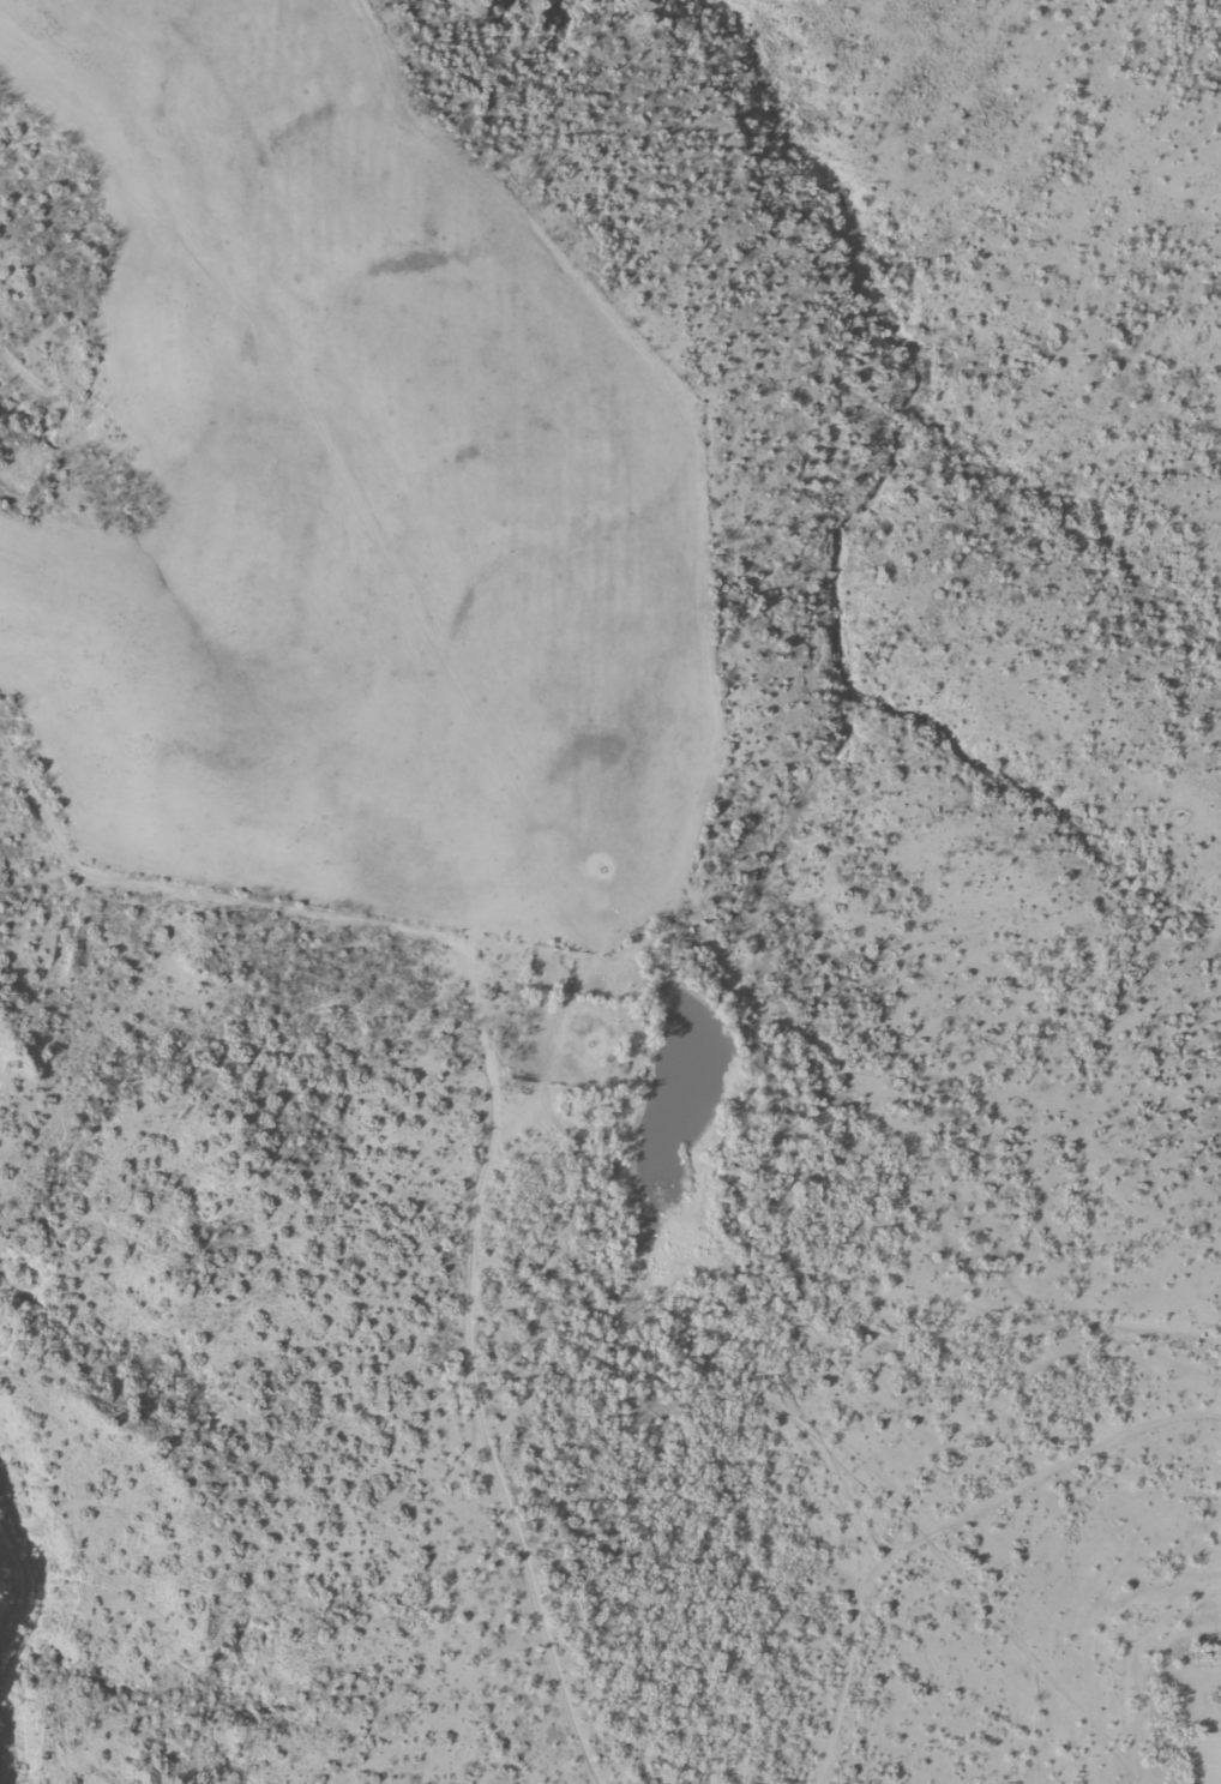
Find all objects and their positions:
road: (691, 767)

